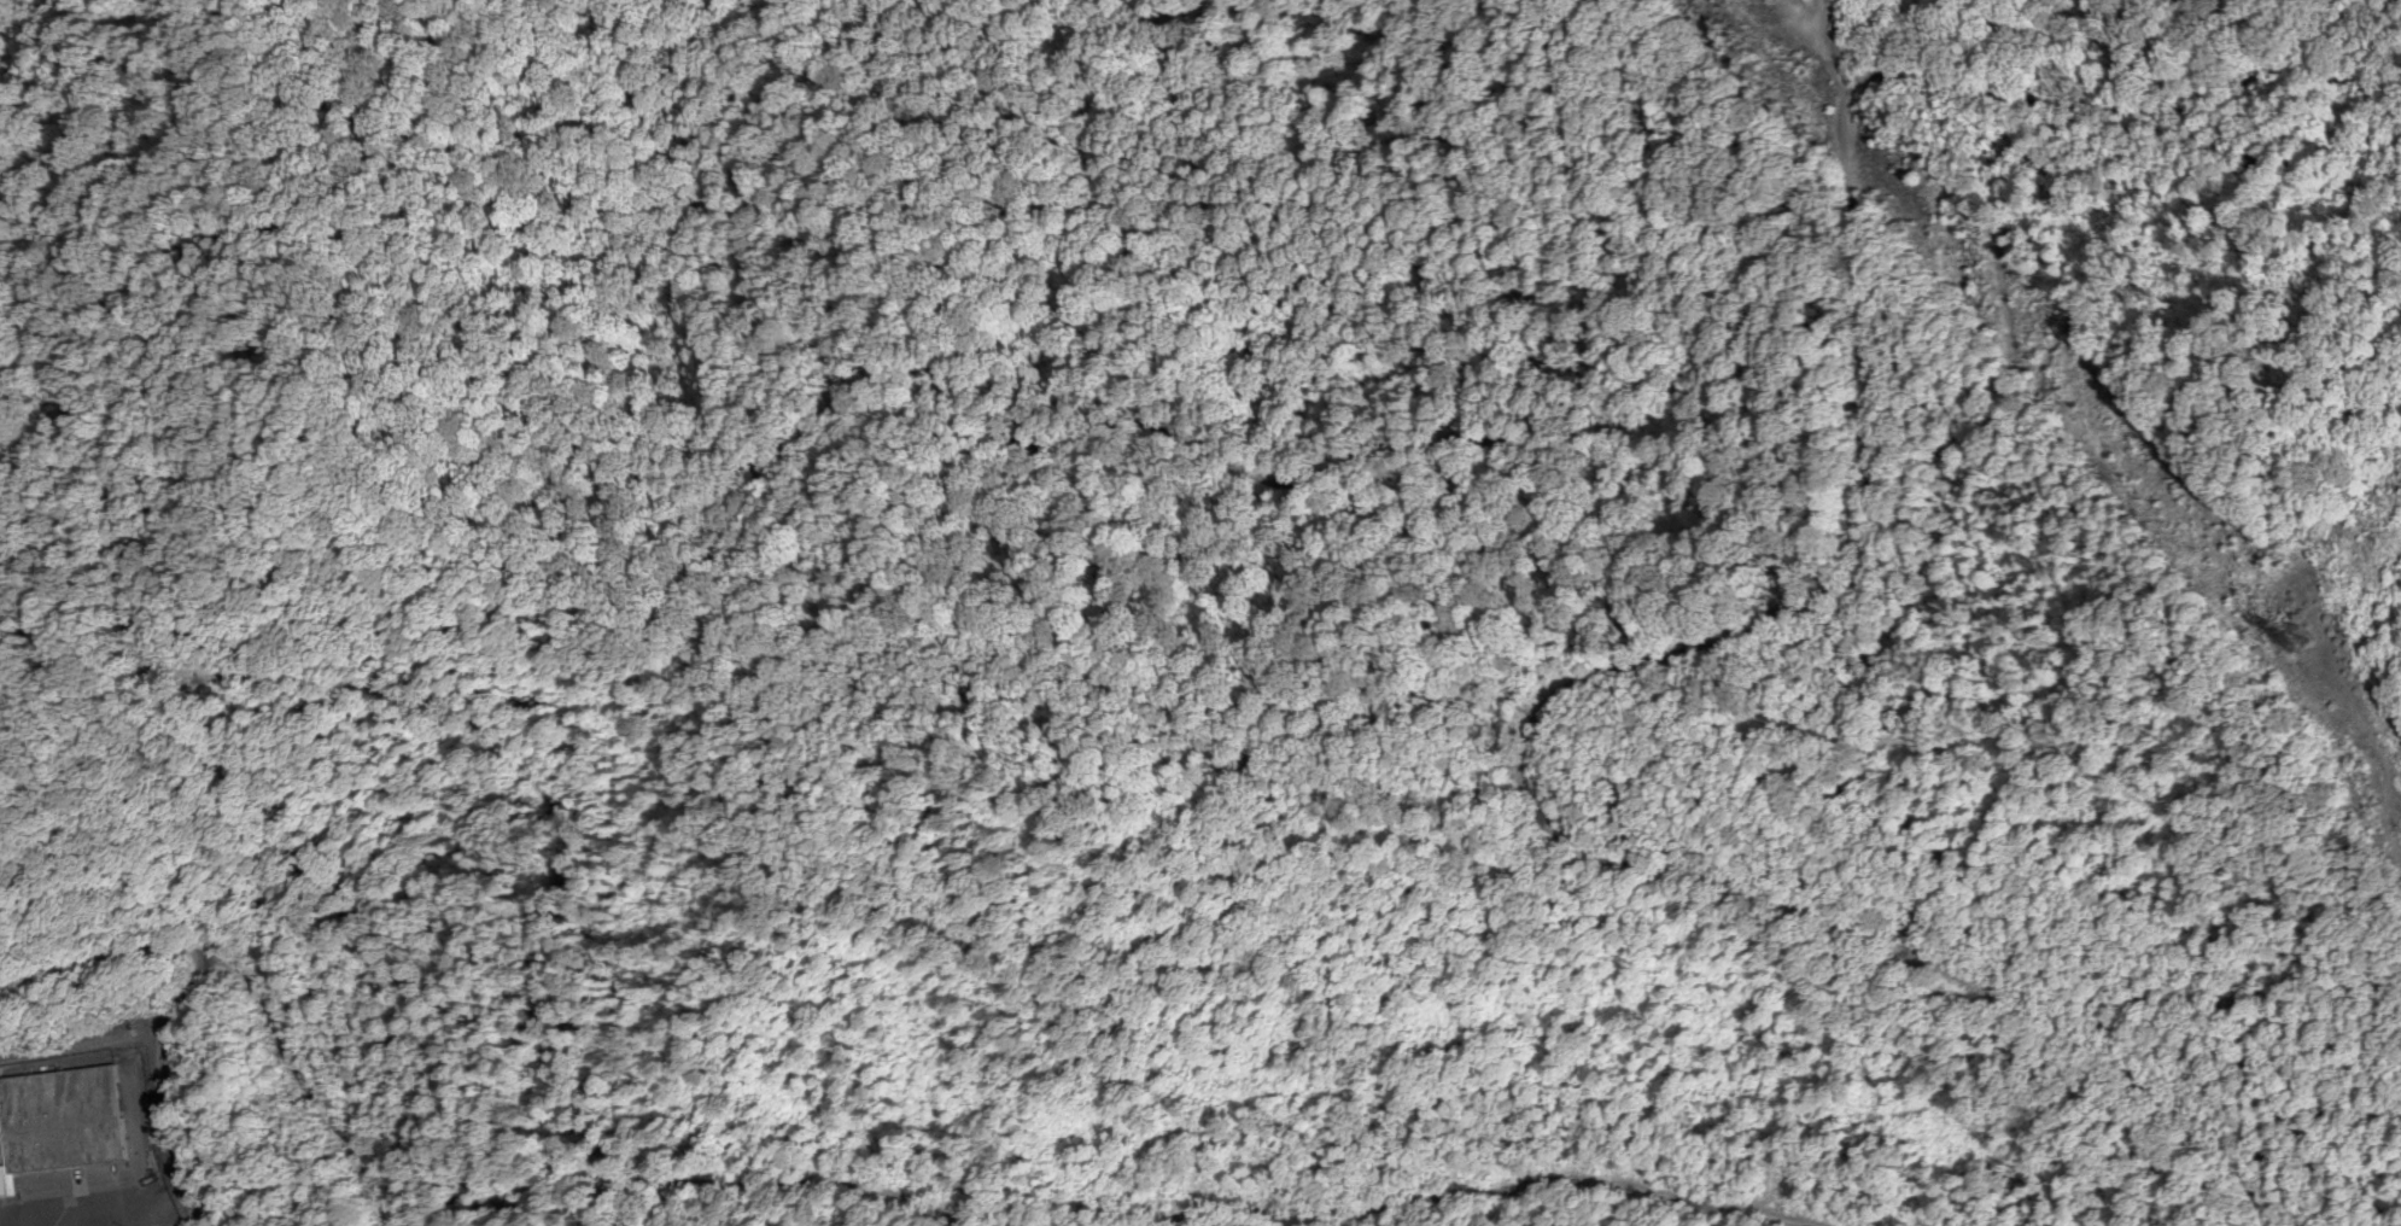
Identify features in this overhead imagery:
building: (59, 1128)

